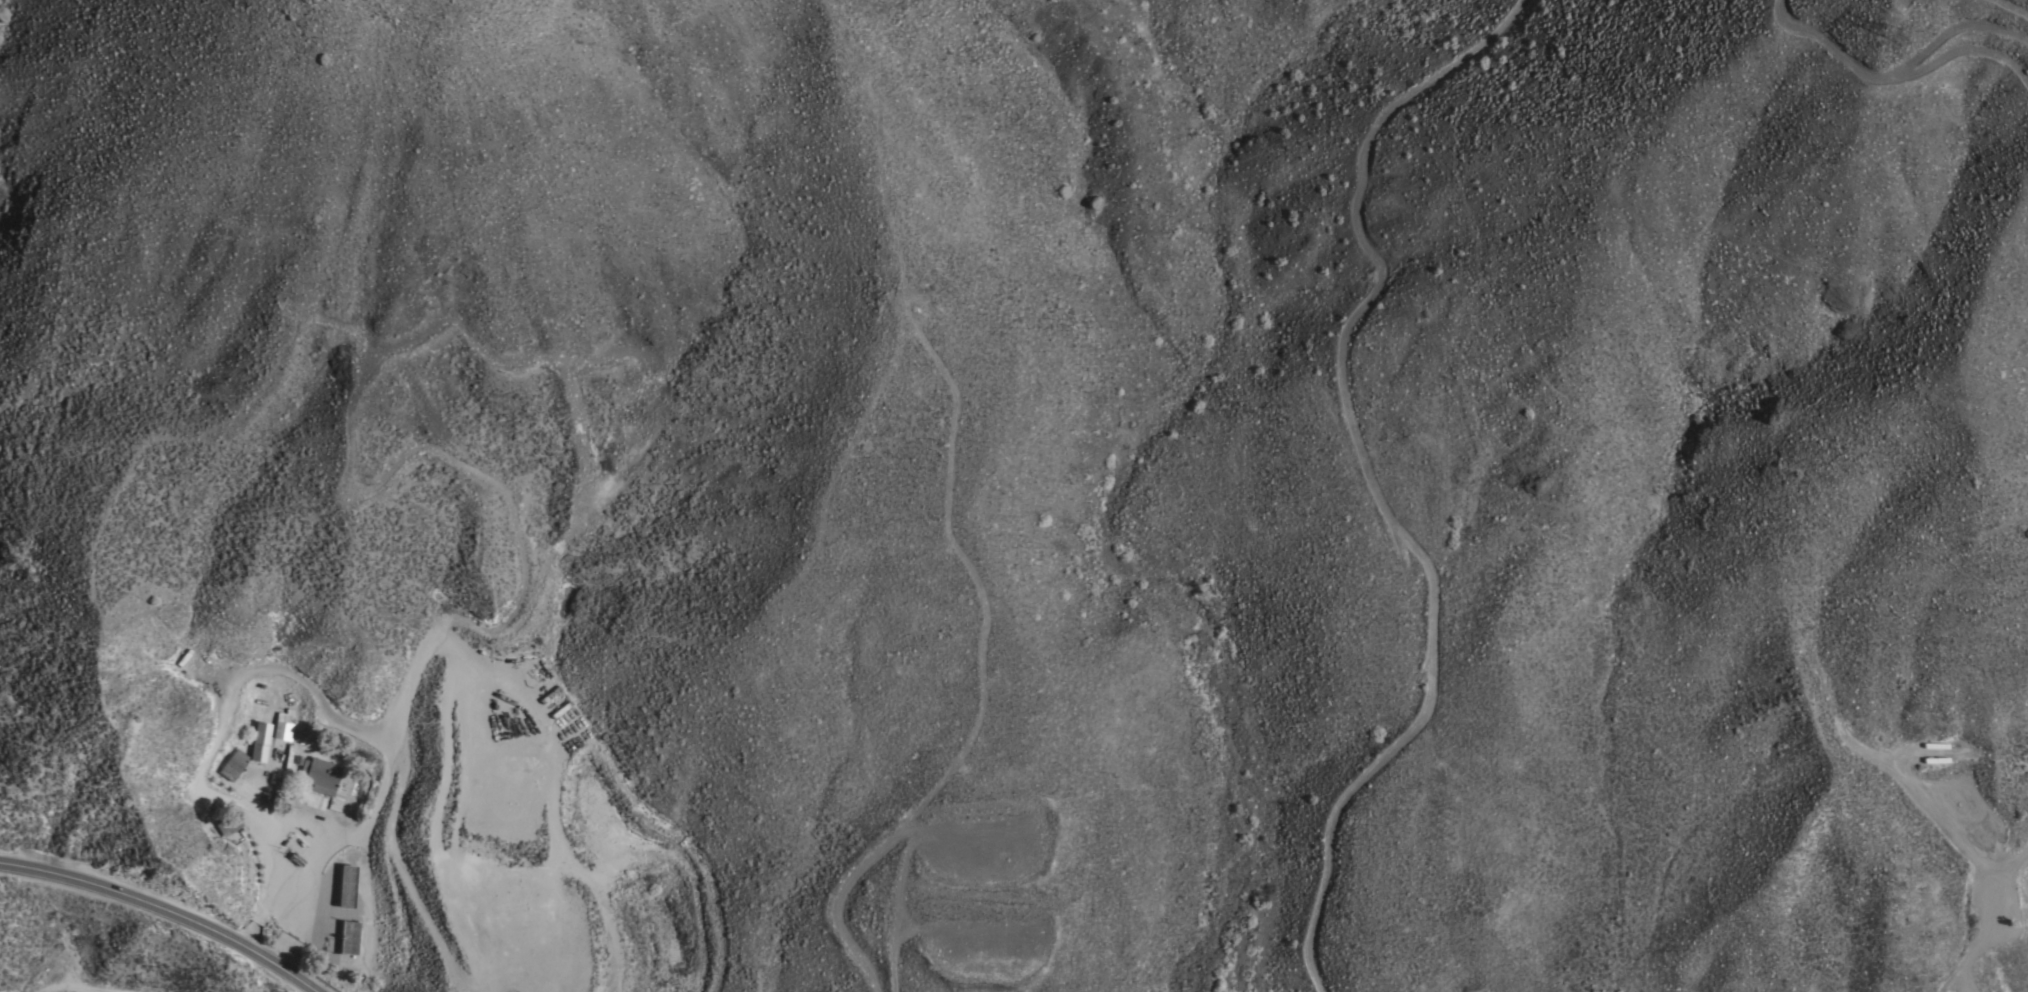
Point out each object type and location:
power tower: (1897, 40)
road: (240, 683)
building: (282, 724)
building: (258, 741)
building: (232, 764)
building: (319, 774)
building: (227, 824)
road: (363, 824)
building: (345, 885)
road: (166, 910)
road: (298, 925)
road: (370, 926)
building: (347, 937)

